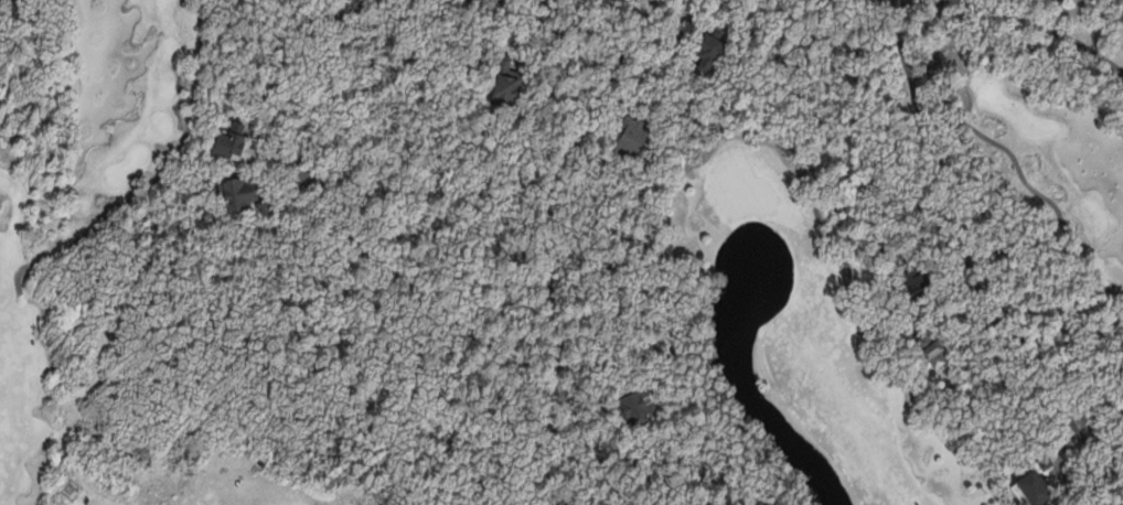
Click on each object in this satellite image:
road: (343, 12)
road: (1020, 17)
road: (573, 19)
building: (675, 42)
building: (710, 44)
building: (505, 78)
building: (635, 140)
building: (240, 193)
road: (548, 248)
road: (967, 266)
building: (916, 275)
road: (432, 296)
building: (934, 348)
building: (637, 402)

